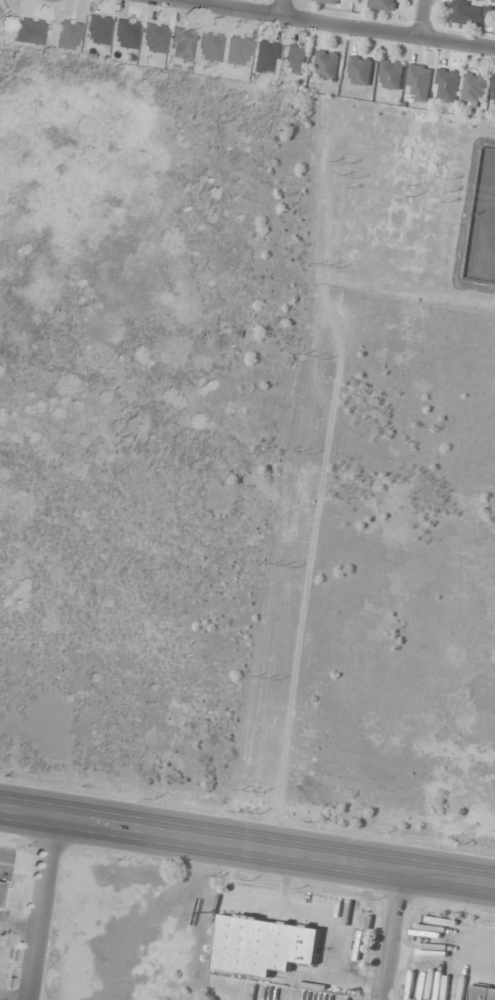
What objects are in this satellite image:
building: (325, 0)
building: (384, 4)
road: (281, 9)
building: (468, 13)
road: (421, 19)
road: (328, 25)
building: (97, 29)
building: (31, 31)
building: (125, 34)
building: (67, 35)
building: (154, 37)
building: (181, 45)
building: (209, 46)
building: (237, 51)
building: (265, 57)
building: (295, 60)
building: (327, 64)
building: (361, 70)
building: (392, 74)
building: (420, 80)
building: (448, 85)
building: (476, 88)
building: (493, 94)
road: (247, 848)
road: (41, 906)
road: (394, 938)
building: (264, 945)
building: (483, 993)

